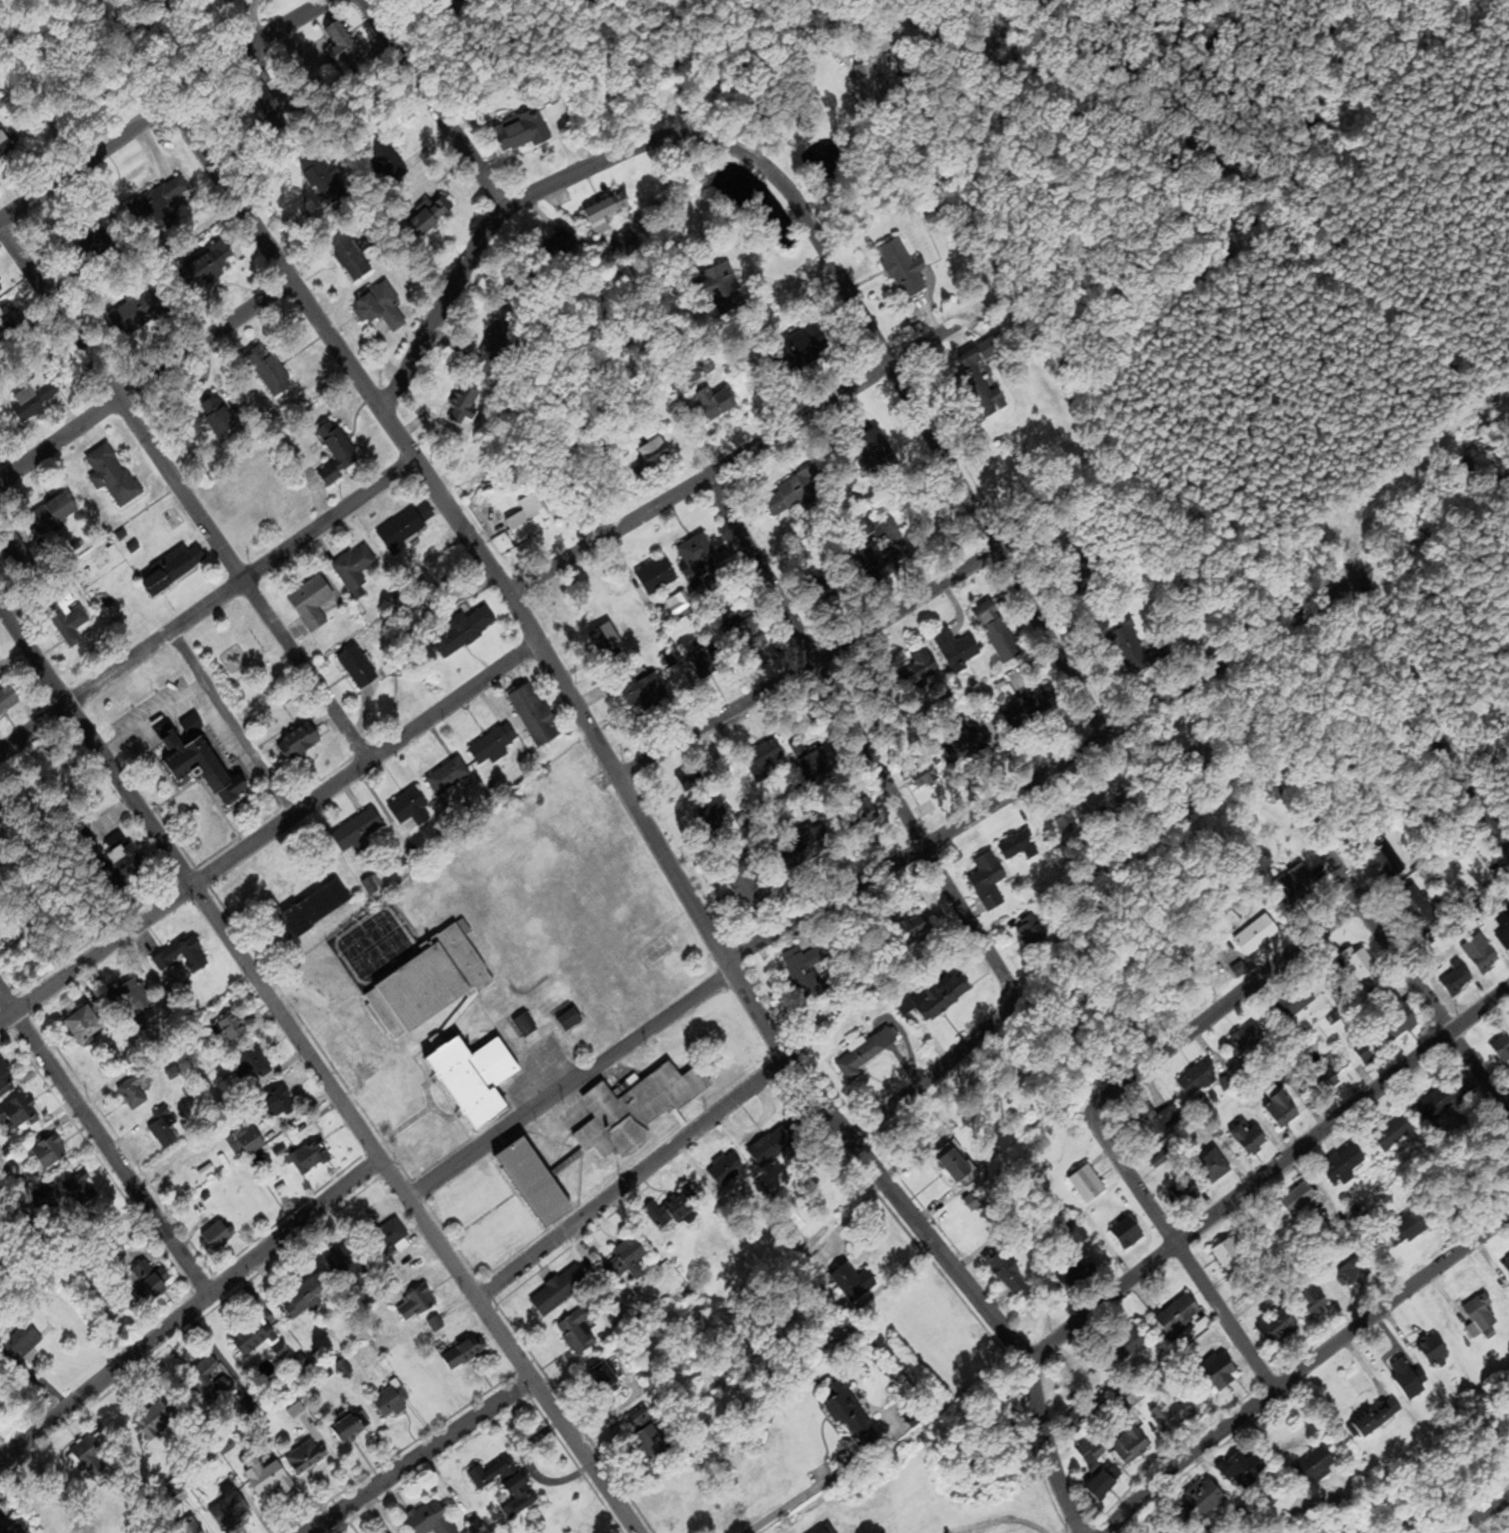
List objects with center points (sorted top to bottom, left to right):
building: (250, 0)
road: (299, 17)
road: (778, 37)
building: (342, 46)
building: (868, 89)
building: (686, 98)
building: (269, 111)
road: (751, 118)
building: (521, 134)
building: (6, 145)
building: (386, 161)
road: (82, 170)
building: (320, 178)
building: (158, 205)
road: (803, 211)
building: (606, 213)
building: (431, 216)
building: (561, 247)
building: (350, 257)
building: (208, 267)
building: (903, 271)
road: (773, 283)
building: (0, 288)
building: (719, 289)
building: (380, 309)
road: (452, 311)
building: (131, 314)
building: (9, 321)
building: (801, 350)
building: (269, 371)
road: (149, 387)
building: (980, 388)
building: (33, 400)
building: (716, 403)
building: (466, 407)
building: (218, 417)
building: (337, 453)
building: (879, 453)
building: (651, 458)
building: (111, 477)
road: (706, 484)
building: (794, 493)
road: (182, 497)
building: (53, 513)
building: (528, 522)
building: (405, 527)
building: (14, 545)
building: (875, 551)
building: (696, 556)
building: (172, 569)
building: (355, 569)
building: (1352, 573)
building: (657, 576)
road: (245, 579)
building: (311, 603)
building: (60, 615)
building: (996, 633)
building: (747, 634)
building: (605, 643)
building: (1127, 644)
building: (956, 649)
building: (703, 661)
building: (357, 668)
building: (920, 668)
road: (817, 671)
building: (635, 688)
building: (885, 695)
building: (7, 700)
building: (1024, 712)
road: (1426, 714)
road: (152, 716)
building: (534, 716)
road: (231, 722)
road: (34, 725)
road: (864, 729)
building: (299, 742)
building: (493, 745)
building: (967, 745)
building: (814, 758)
building: (763, 759)
road: (365, 764)
building: (203, 767)
building: (922, 775)
building: (448, 777)
building: (407, 807)
road: (642, 813)
road: (1267, 814)
building: (864, 816)
building: (713, 819)
building: (1068, 822)
building: (360, 828)
building: (82, 839)
building: (814, 842)
building: (1020, 847)
building: (1387, 861)
building: (118, 863)
building: (1475, 868)
building: (987, 874)
road: (874, 876)
building: (750, 890)
building: (1292, 892)
building: (315, 909)
building: (1416, 909)
building: (913, 929)
building: (1504, 938)
road: (95, 952)
building: (1481, 955)
building: (182, 957)
building: (1359, 964)
building: (805, 968)
building: (1456, 980)
building: (428, 985)
road: (1416, 986)
building: (942, 997)
building: (128, 999)
building: (1294, 1002)
road: (1220, 1007)
building: (1398, 1020)
building: (569, 1021)
building: (84, 1025)
building: (524, 1027)
building: (232, 1028)
building: (1244, 1042)
building: (590, 1047)
building: (1367, 1049)
building: (1502, 1049)
building: (859, 1058)
building: (251, 1066)
road: (939, 1068)
road: (315, 1070)
building: (5, 1079)
building: (476, 1080)
building: (1196, 1081)
building: (1325, 1082)
building: (136, 1090)
building: (1443, 1100)
building: (635, 1111)
building: (1281, 1111)
building: (18, 1114)
building: (1155, 1119)
building: (165, 1129)
building: (1394, 1134)
building: (1248, 1140)
road: (105, 1142)
building: (244, 1142)
building: (769, 1149)
building: (49, 1153)
building: (307, 1159)
building: (1343, 1164)
building: (1212, 1166)
building: (957, 1169)
building: (726, 1170)
road: (1268, 1176)
road: (634, 1179)
building: (535, 1184)
building: (1086, 1185)
building: (81, 1190)
building: (50, 1194)
building: (1185, 1194)
building: (1299, 1199)
building: (683, 1205)
building: (1408, 1226)
building: (1076, 1235)
building: (1126, 1235)
building: (217, 1236)
building: (387, 1239)
building: (1226, 1254)
road: (1180, 1255)
building: (627, 1263)
building: (1506, 1265)
building: (1007, 1275)
building: (1348, 1275)
building: (1074, 1276)
building: (148, 1282)
building: (852, 1284)
building: (559, 1291)
building: (304, 1301)
building: (1314, 1303)
building: (415, 1305)
road: (188, 1313)
building: (1179, 1317)
building: (1481, 1318)
building: (435, 1325)
building: (1277, 1327)
building: (578, 1332)
building: (258, 1340)
building: (19, 1345)
building: (1122, 1345)
building: (1434, 1351)
building: (464, 1353)
road: (1303, 1371)
building: (1220, 1373)
building: (605, 1378)
building: (1408, 1379)
building: (208, 1382)
building: (391, 1402)
building: (1172, 1414)
building: (850, 1416)
building: (1378, 1418)
building: (158, 1419)
building: (351, 1428)
building: (647, 1434)
building: (1129, 1443)
building: (1091, 1451)
road: (424, 1456)
building: (93, 1457)
building: (306, 1458)
building: (1315, 1466)
building: (1243, 1471)
building: (265, 1475)
building: (1105, 1483)
road: (811, 1488)
building: (1203, 1500)
building: (228, 1508)
road: (1478, 1514)
building: (426, 1518)
building: (188, 1528)
building: (15, 1529)
building: (826, 1529)
building: (1, 1531)

